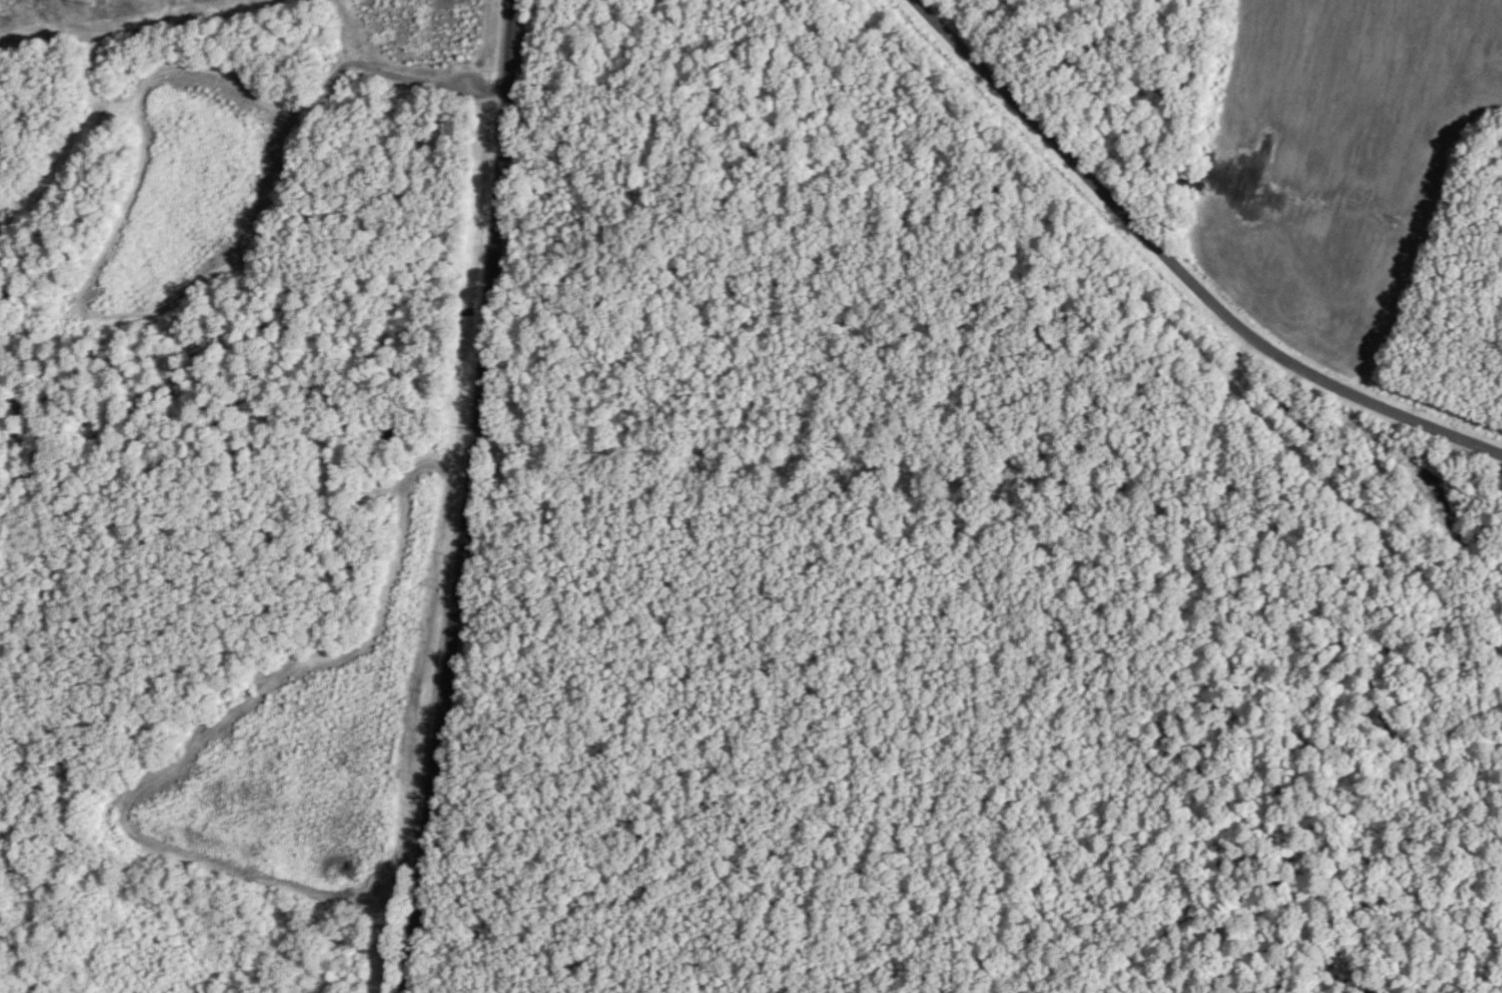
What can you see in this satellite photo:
power tower: (94, 0)
road: (1179, 267)
road: (473, 497)

